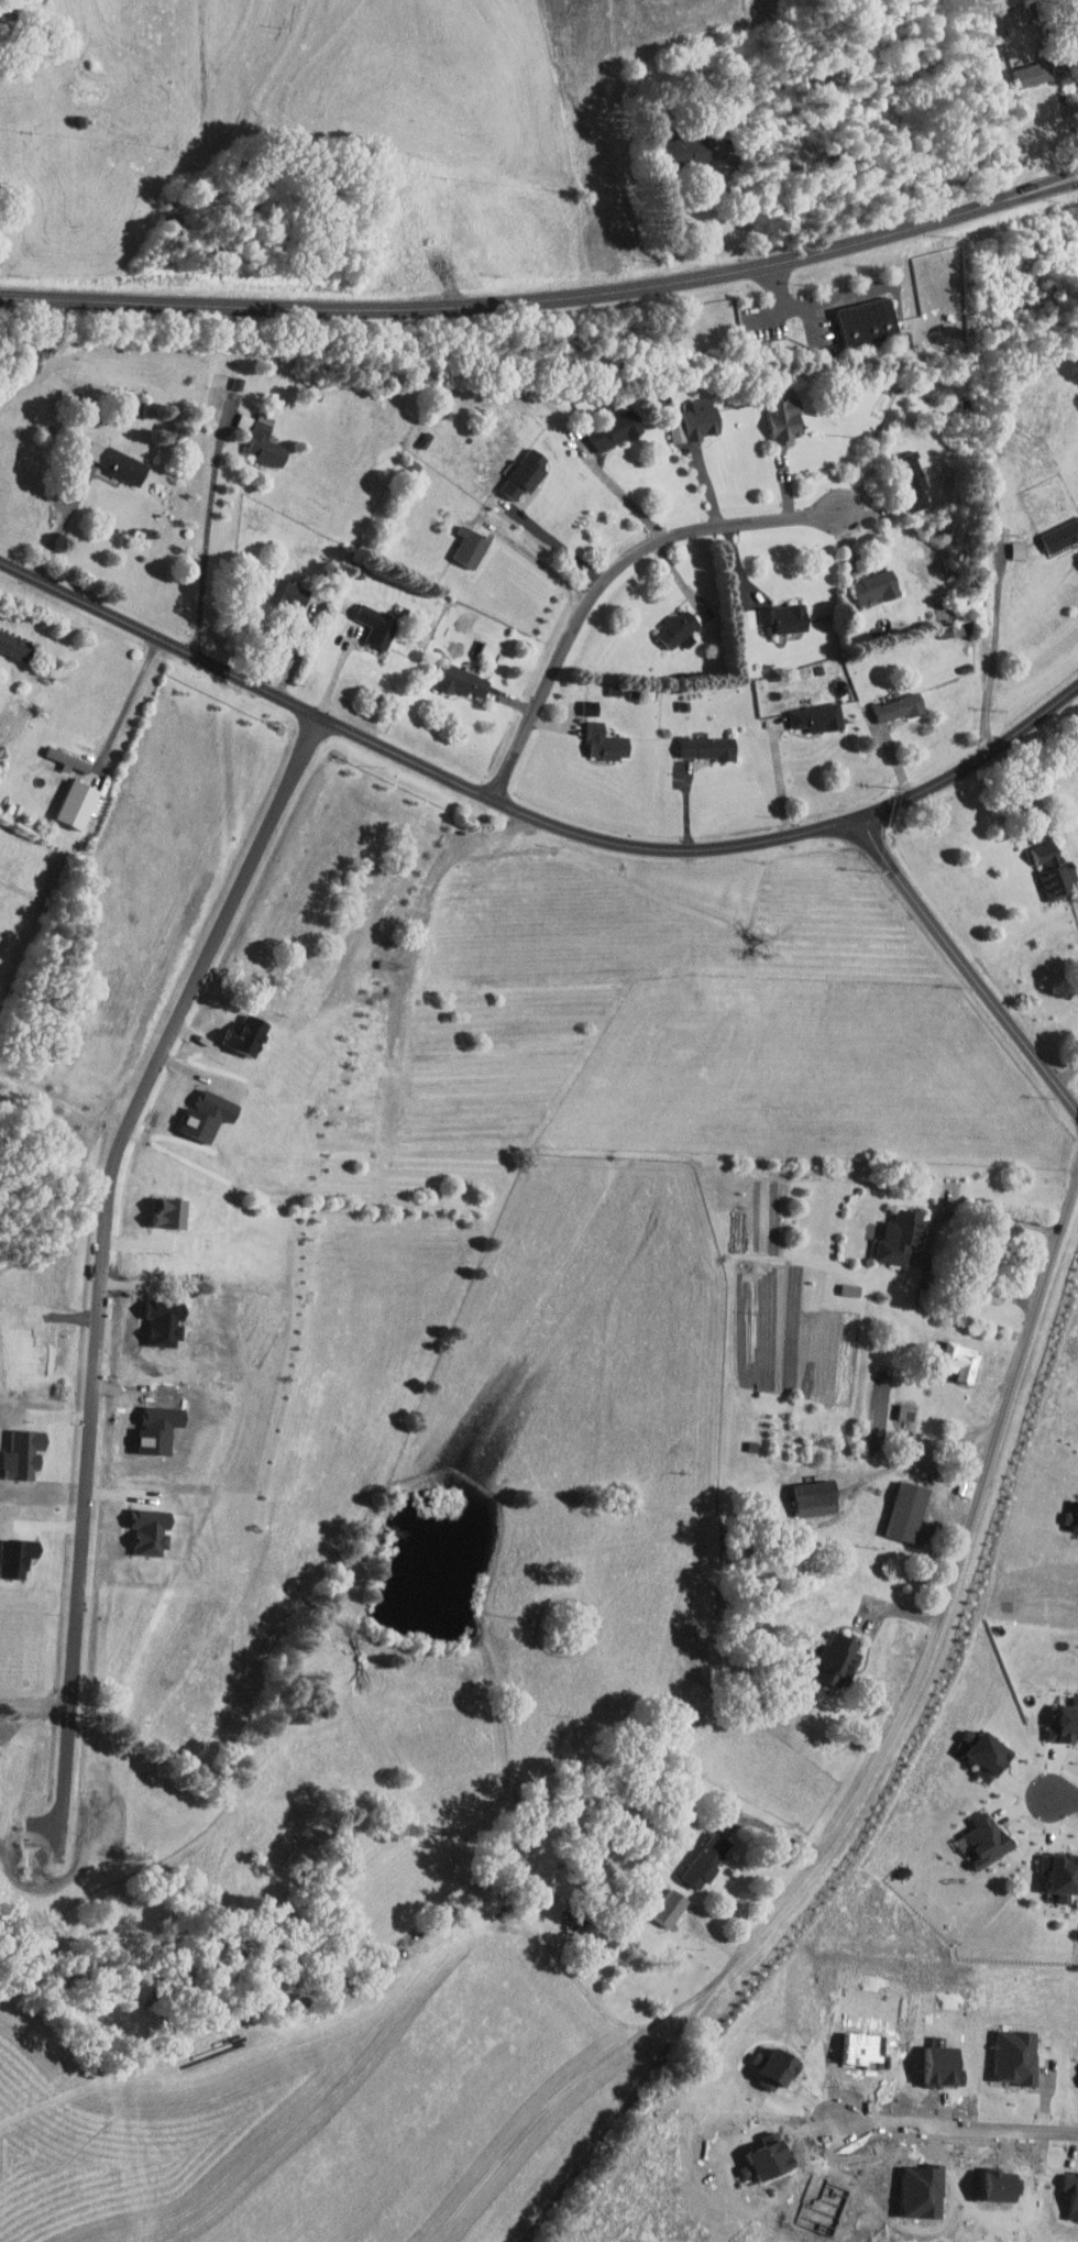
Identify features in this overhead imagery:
building: (1034, 73)
building: (689, 147)
road: (546, 299)
building: (870, 322)
building: (787, 417)
building: (698, 421)
building: (617, 430)
building: (267, 442)
building: (120, 462)
building: (526, 472)
building: (915, 481)
road: (620, 491)
road: (64, 521)
road: (209, 529)
building: (1004, 534)
building: (1061, 536)
road: (558, 542)
building: (472, 546)
building: (1021, 549)
road: (606, 578)
building: (878, 587)
building: (290, 594)
building: (748, 618)
building: (784, 618)
building: (378, 625)
building: (680, 629)
building: (16, 646)
road: (996, 653)
road: (337, 672)
building: (464, 680)
road: (128, 705)
building: (901, 706)
building: (593, 707)
building: (820, 717)
building: (607, 741)
building: (711, 747)
building: (71, 760)
road: (781, 777)
building: (79, 804)
road: (1031, 804)
road: (532, 815)
building: (1056, 870)
road: (1025, 942)
road: (967, 963)
road: (1067, 1074)
road: (934, 1235)
building: (901, 1238)
building: (150, 1264)
building: (853, 1289)
building: (964, 1361)
building: (909, 1411)
road: (922, 1454)
road: (84, 1455)
road: (942, 1488)
building: (817, 1498)
building: (909, 1512)
building: (1072, 1518)
building: (1077, 1530)
building: (838, 1657)
road: (33, 1707)
building: (1066, 1724)
building: (987, 1752)
road: (881, 1754)
road: (1067, 1798)
road: (771, 1824)
building: (988, 1838)
building: (708, 1858)
building: (1063, 1873)
building: (672, 1906)
road: (954, 2124)

